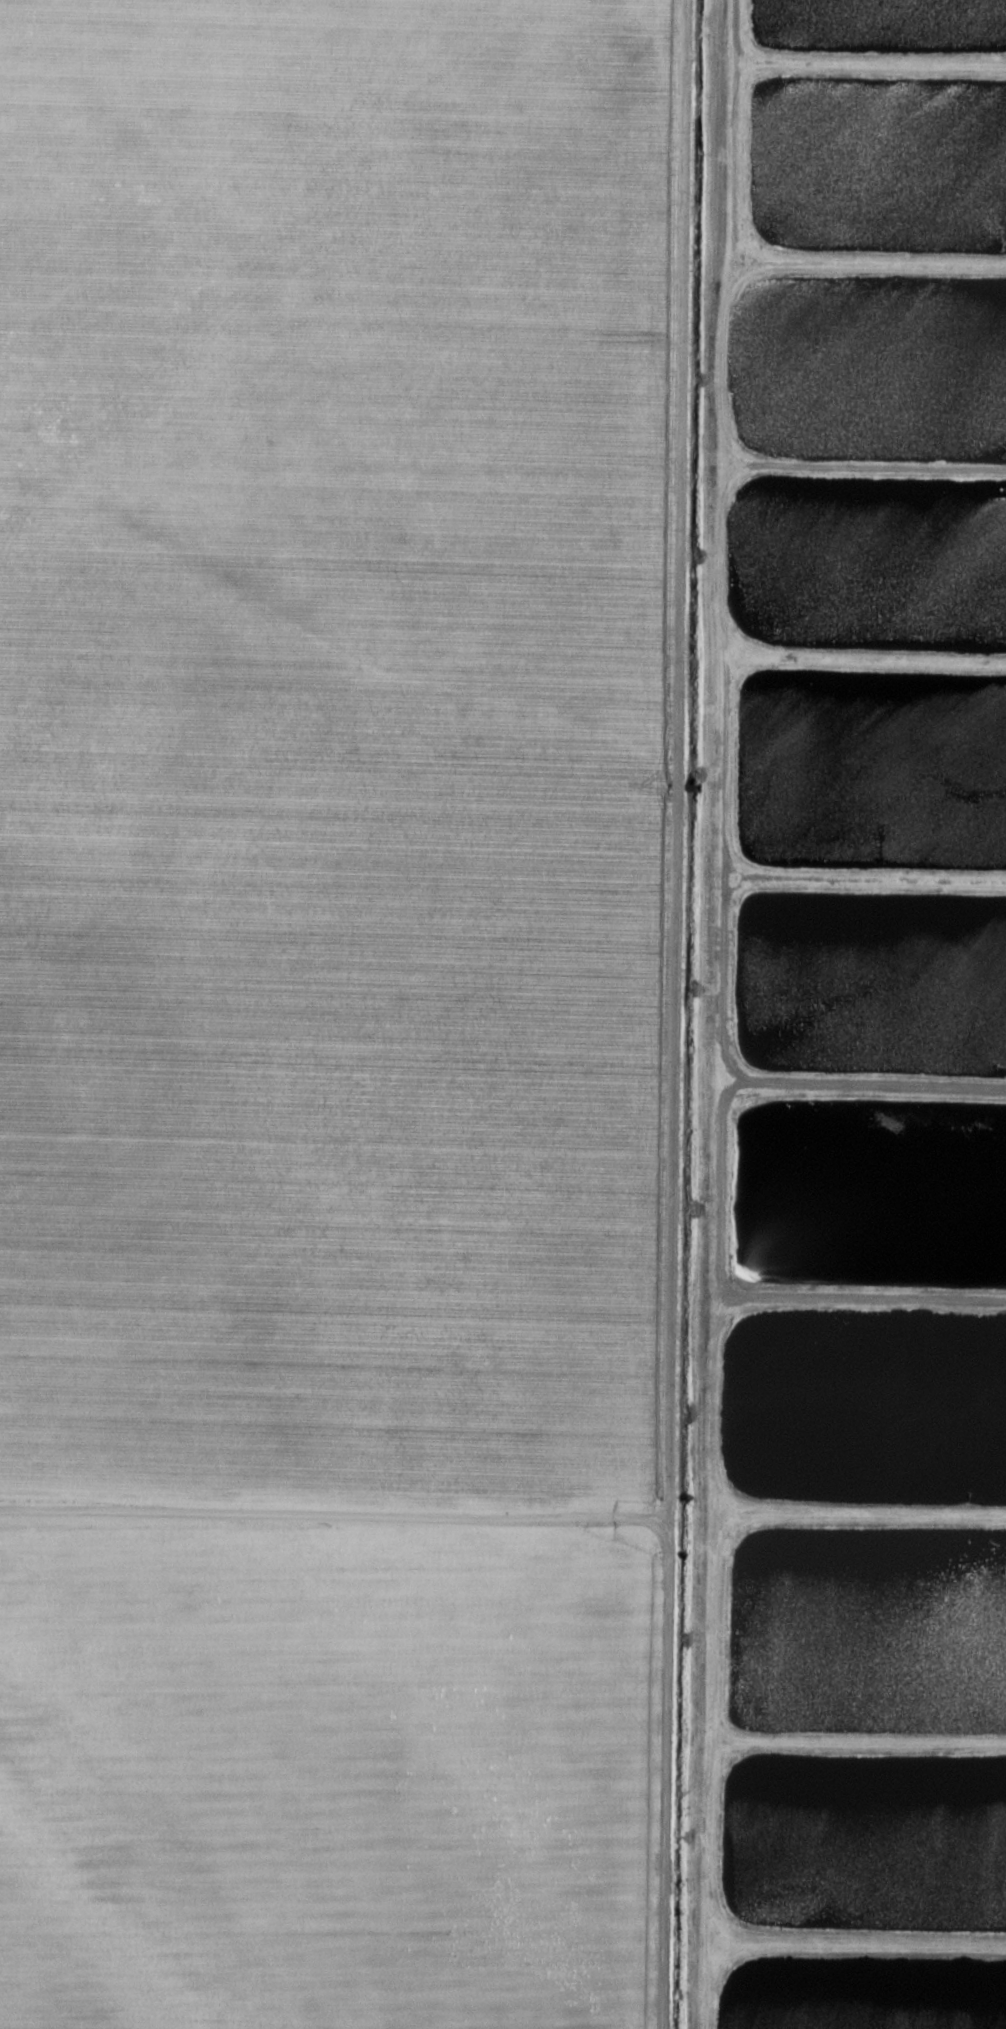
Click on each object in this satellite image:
road: (712, 1015)

